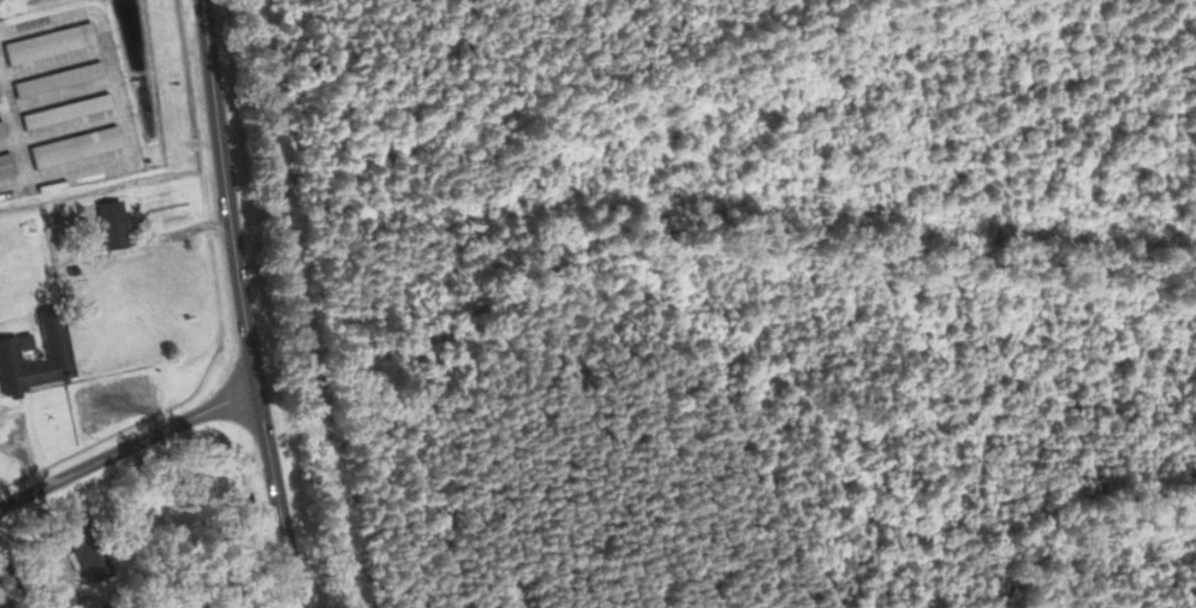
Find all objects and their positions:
building: (52, 42)
building: (61, 78)
building: (69, 111)
building: (2, 127)
building: (77, 145)
building: (6, 163)
building: (108, 223)
road: (244, 304)
building: (49, 358)
road: (127, 448)
building: (83, 549)

